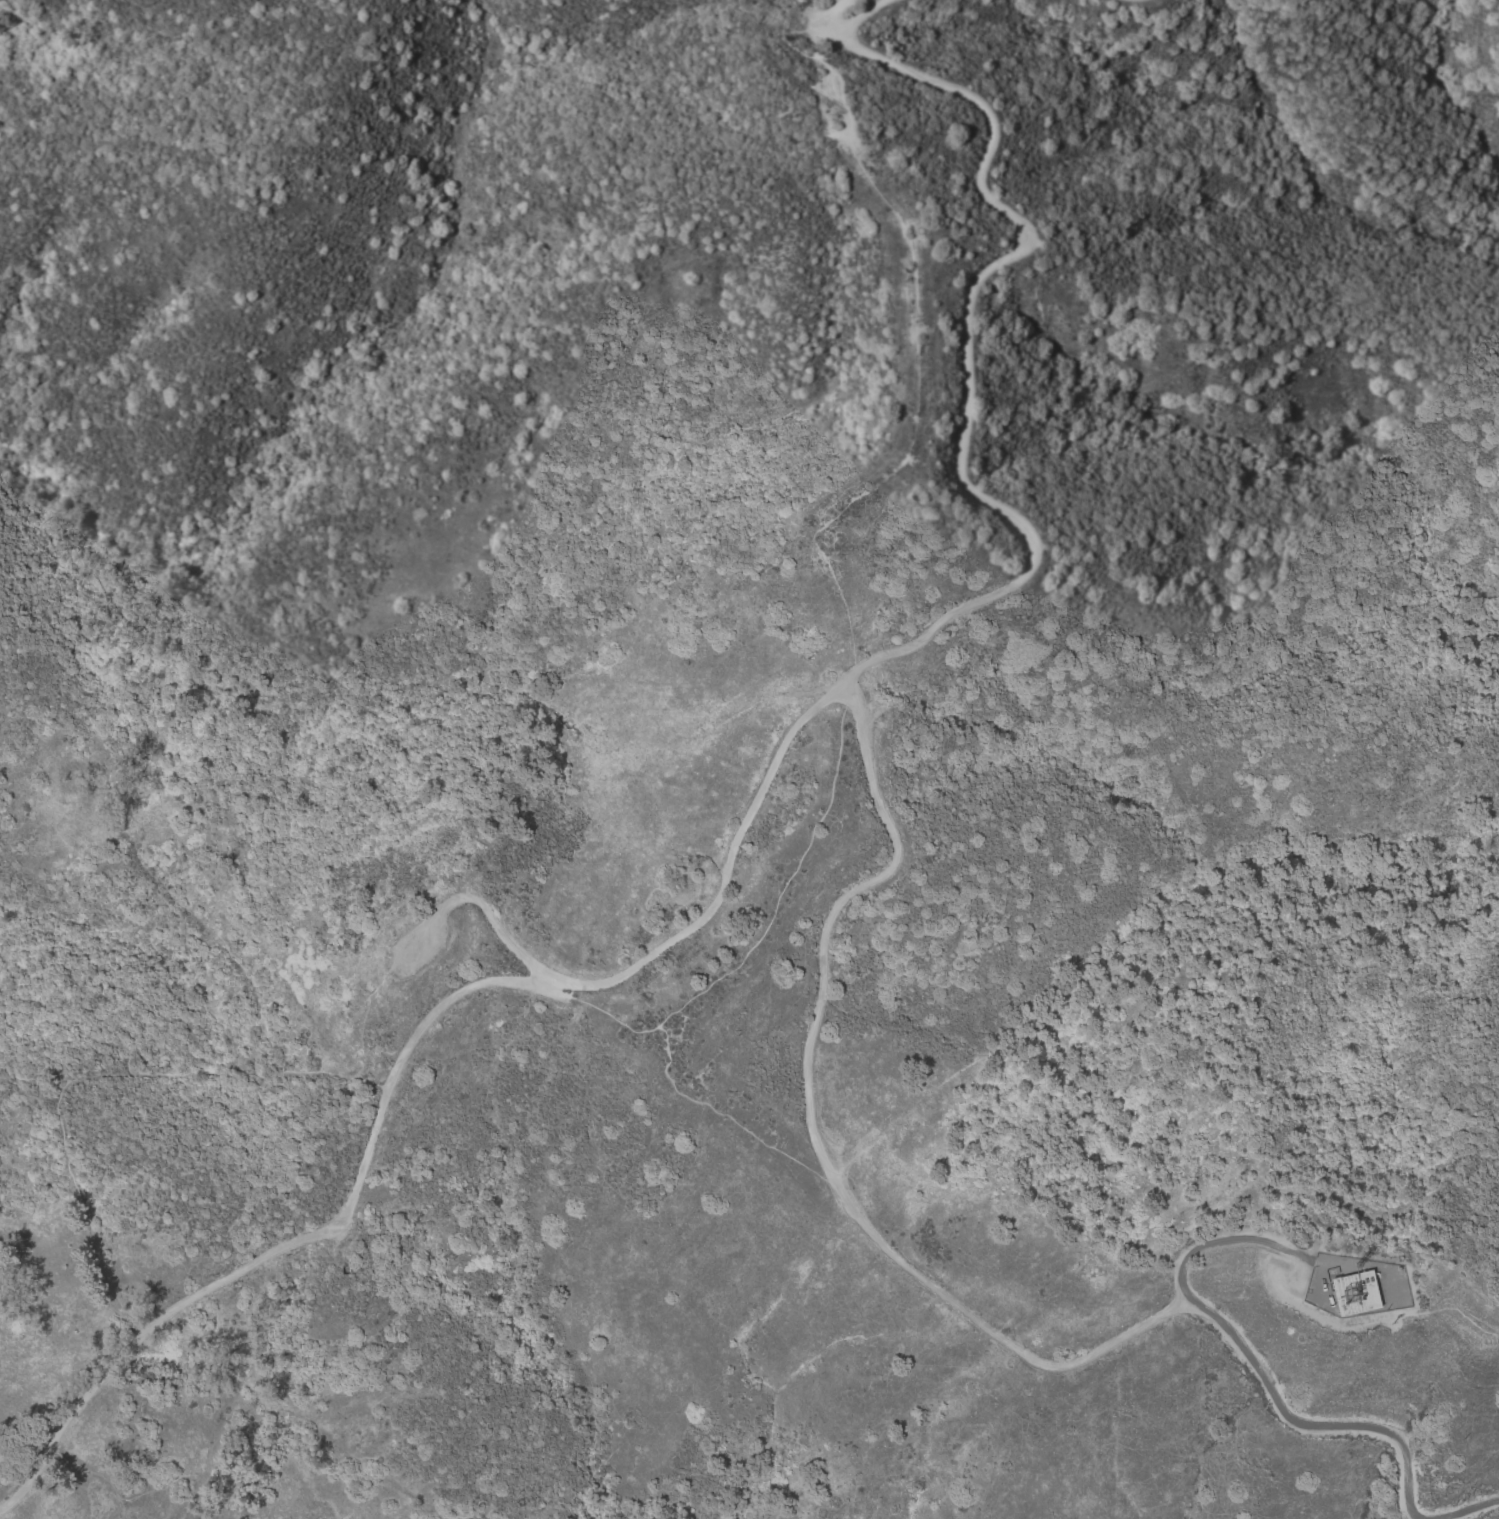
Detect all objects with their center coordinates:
road: (859, 19)
road: (758, 794)
road: (717, 980)
road: (598, 1010)
road: (95, 1075)
road: (1219, 1238)
road: (915, 1274)
building: (1354, 1292)
road: (30, 1448)
road: (1486, 1513)

